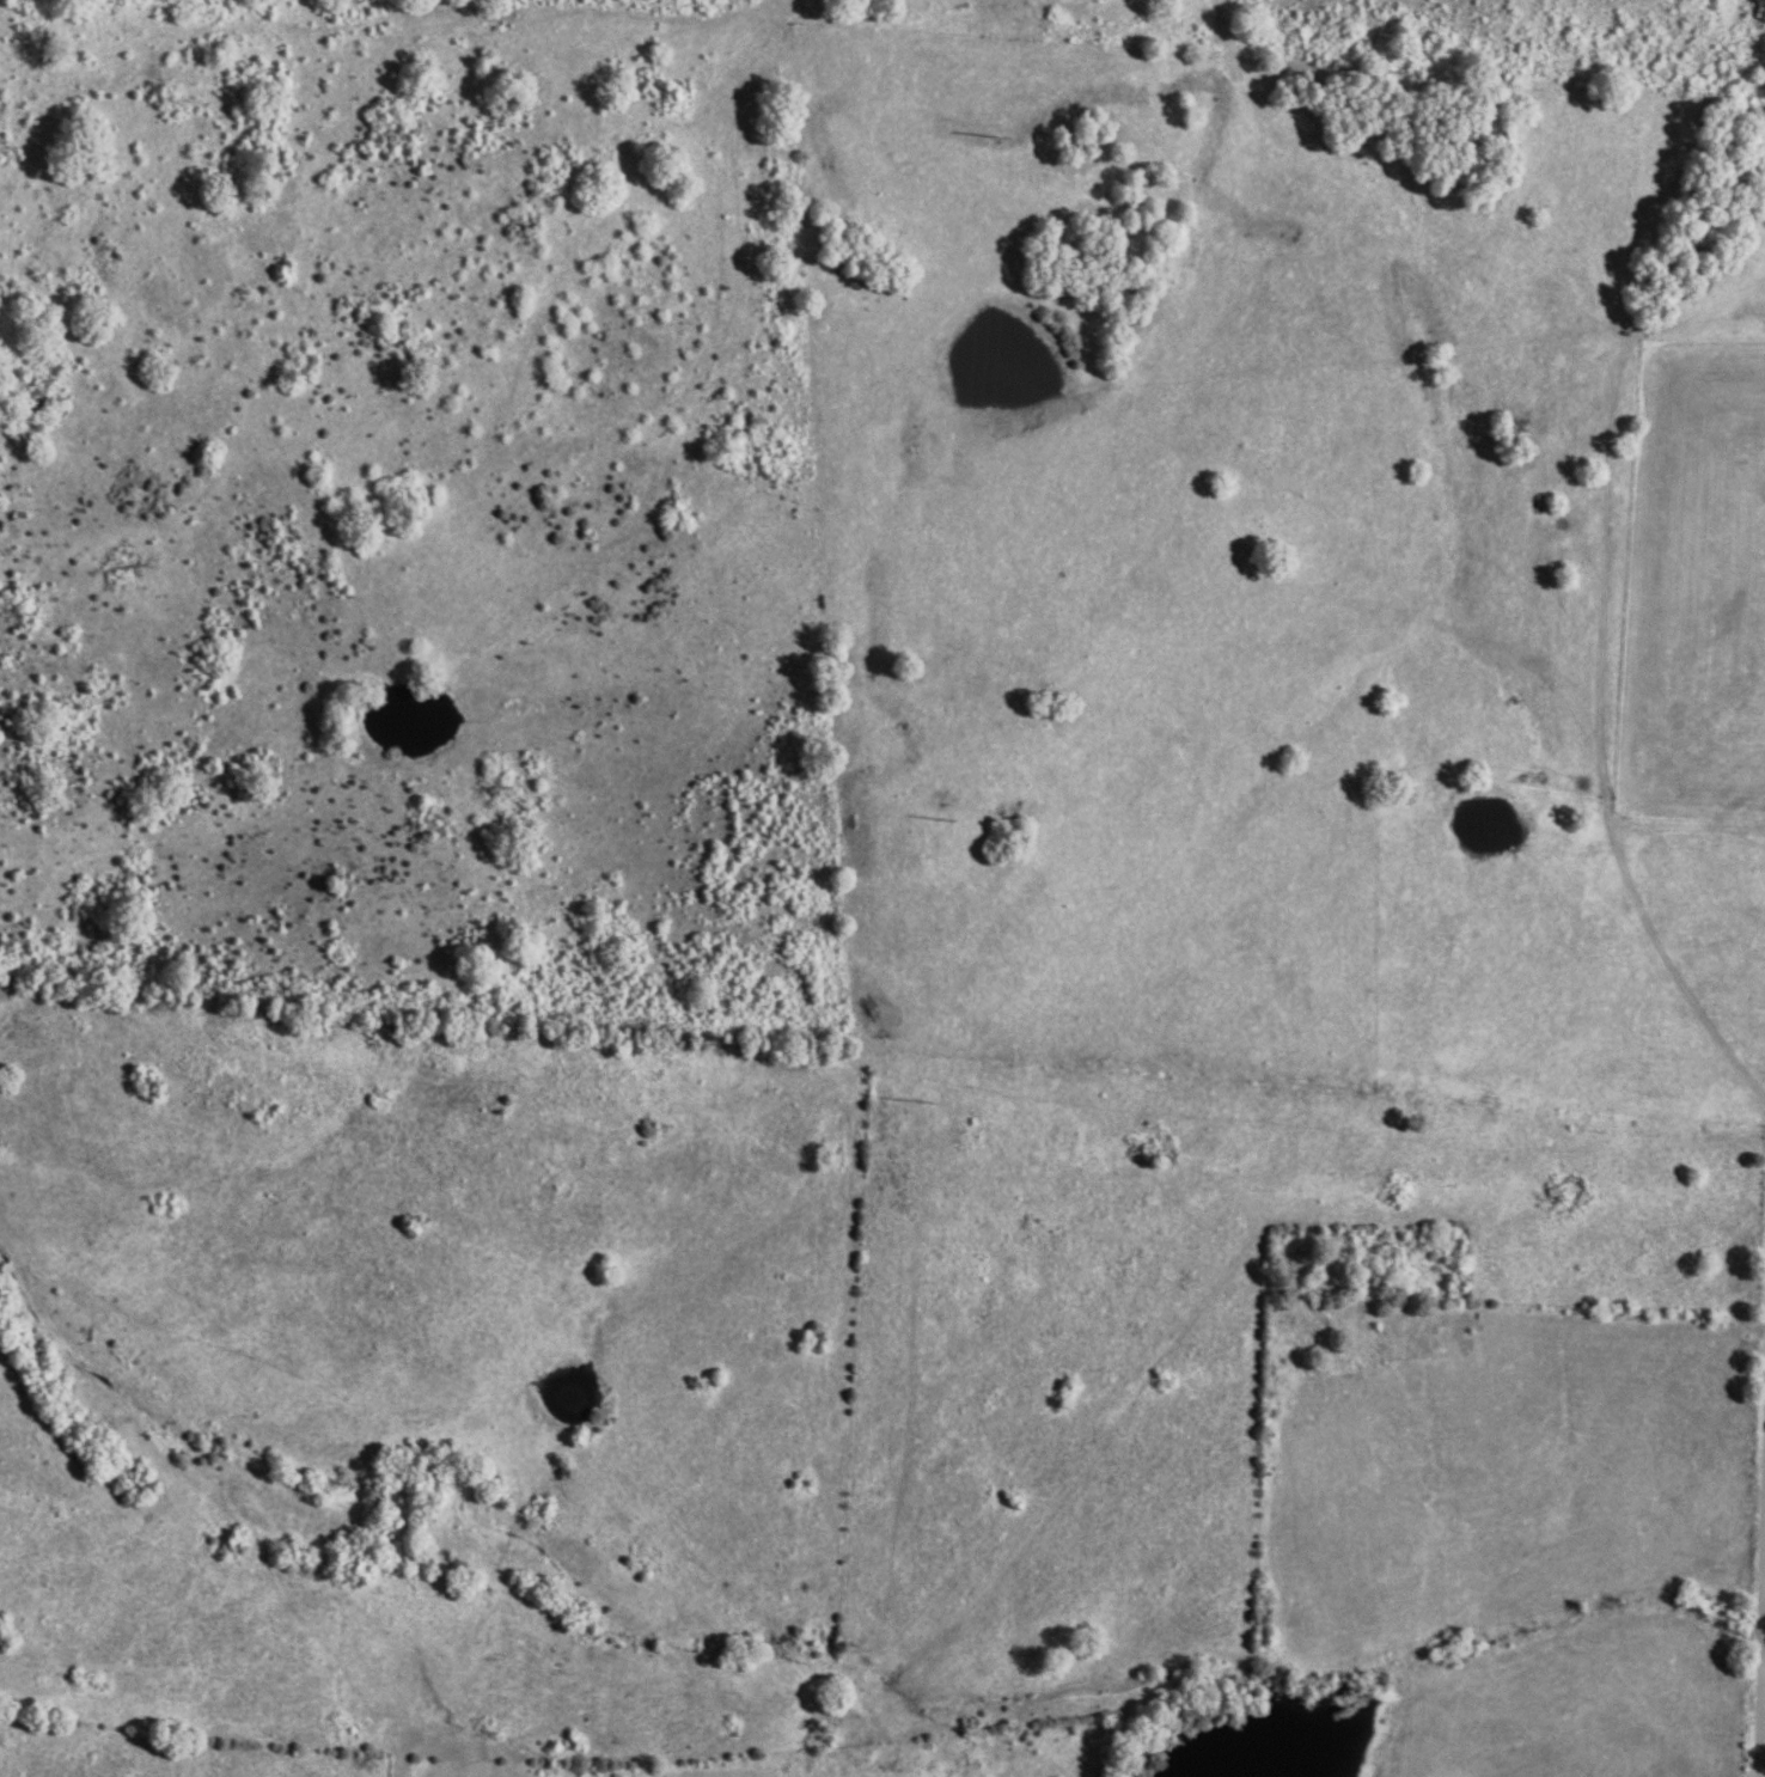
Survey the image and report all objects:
road: (1763, 1678)

